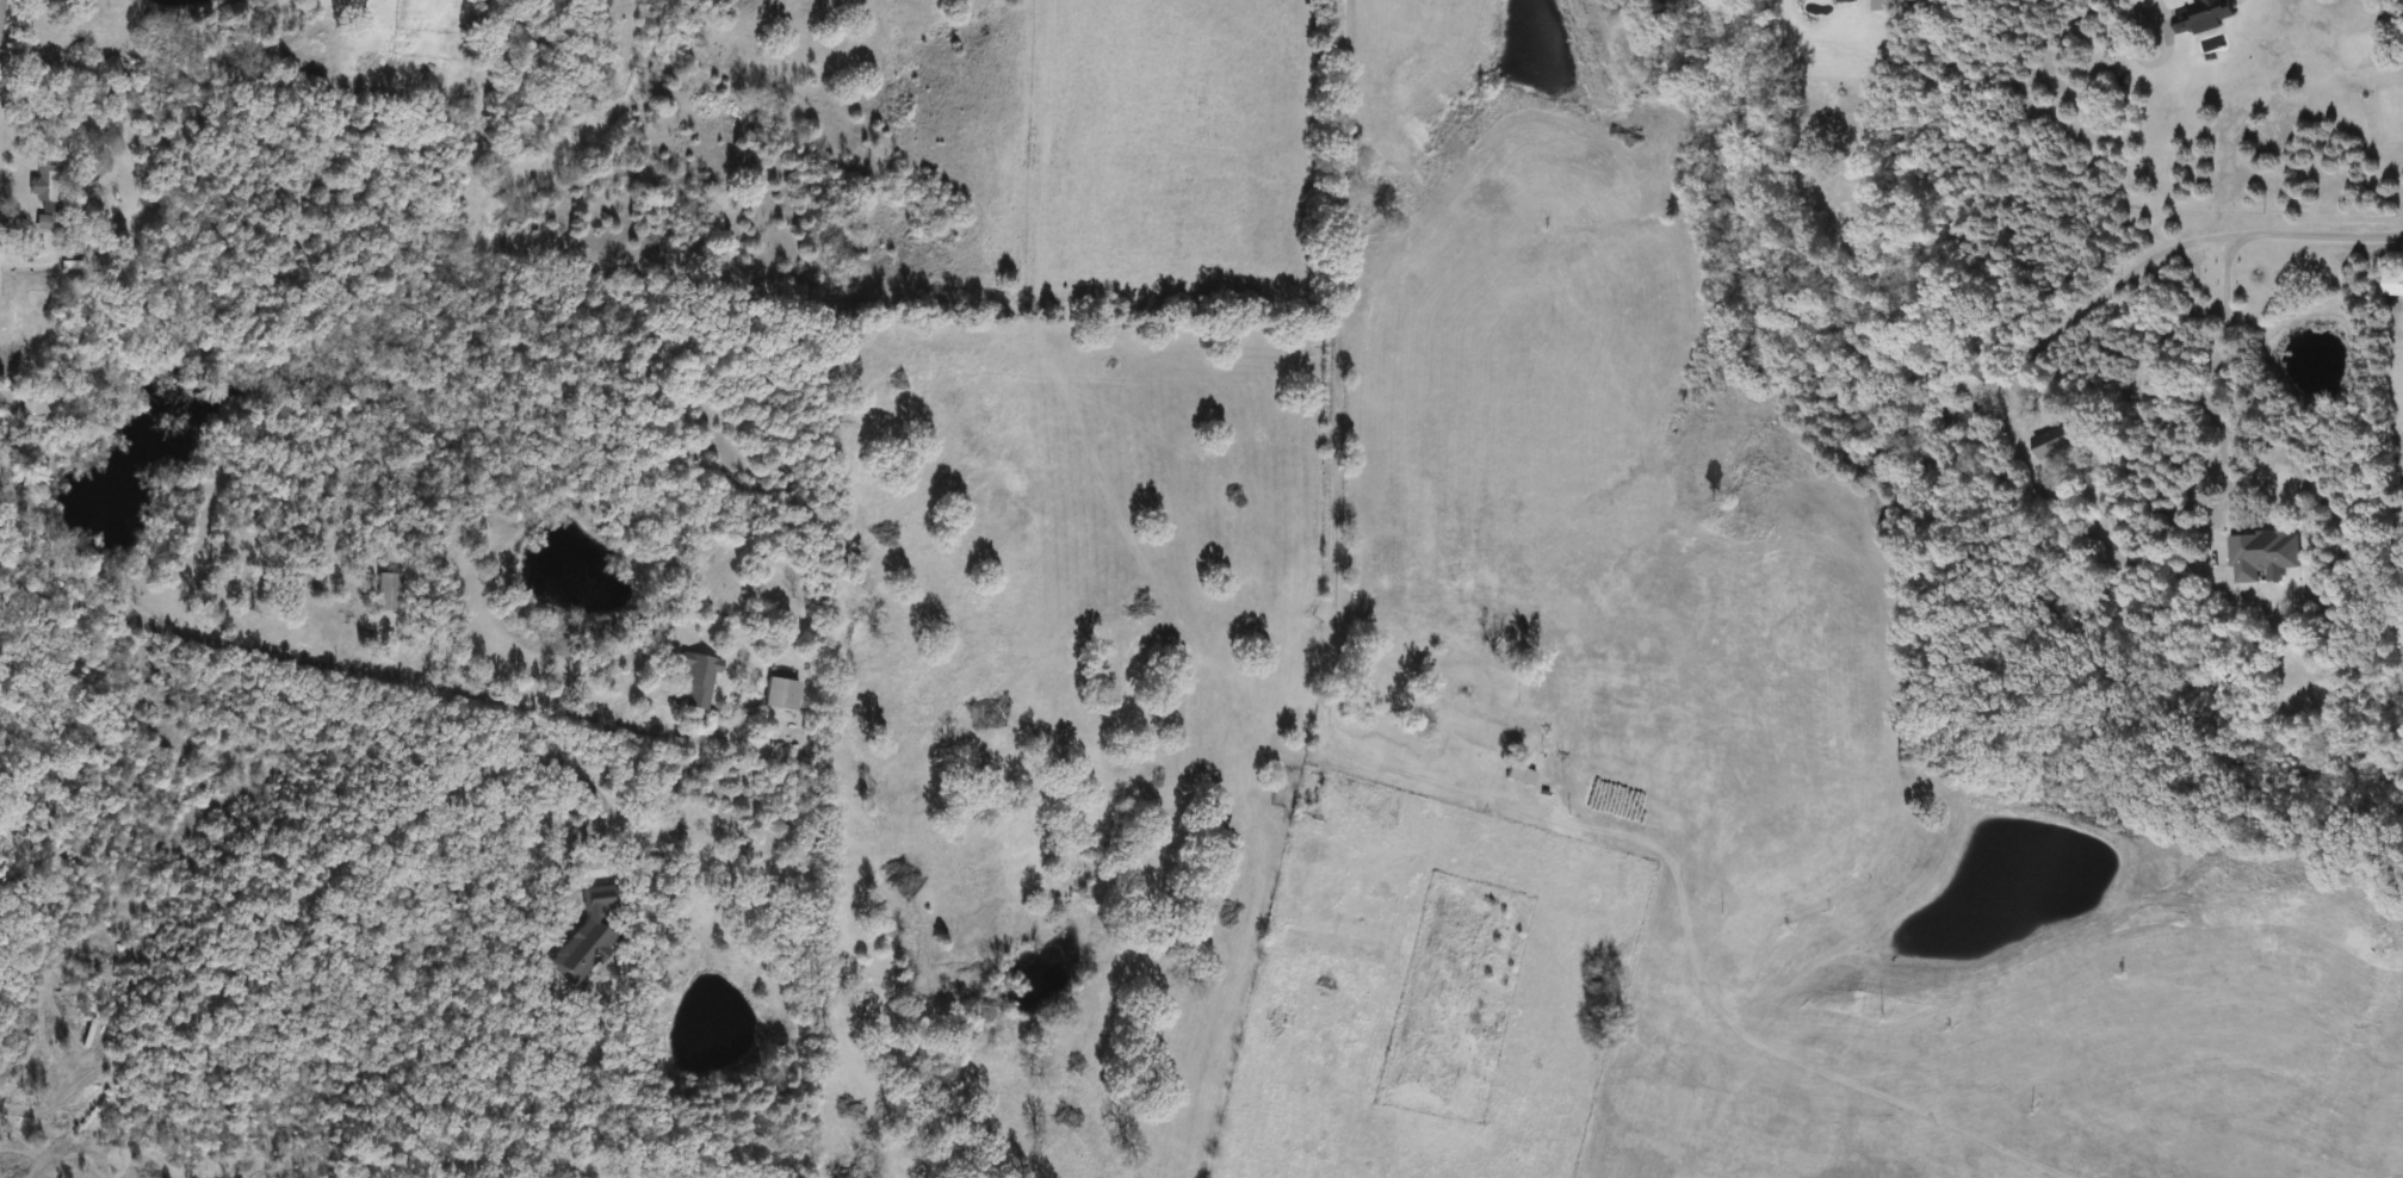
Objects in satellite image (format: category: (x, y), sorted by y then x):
road: (2154, 8)
building: (2200, 17)
road: (1208, 79)
road: (2391, 150)
building: (36, 187)
road: (2318, 228)
road: (2111, 278)
building: (2392, 285)
building: (1974, 378)
road: (2207, 386)
building: (25, 410)
building: (2049, 444)
building: (2259, 554)
building: (385, 594)
road: (363, 665)
building: (696, 680)
building: (780, 695)
building: (1458, 711)

